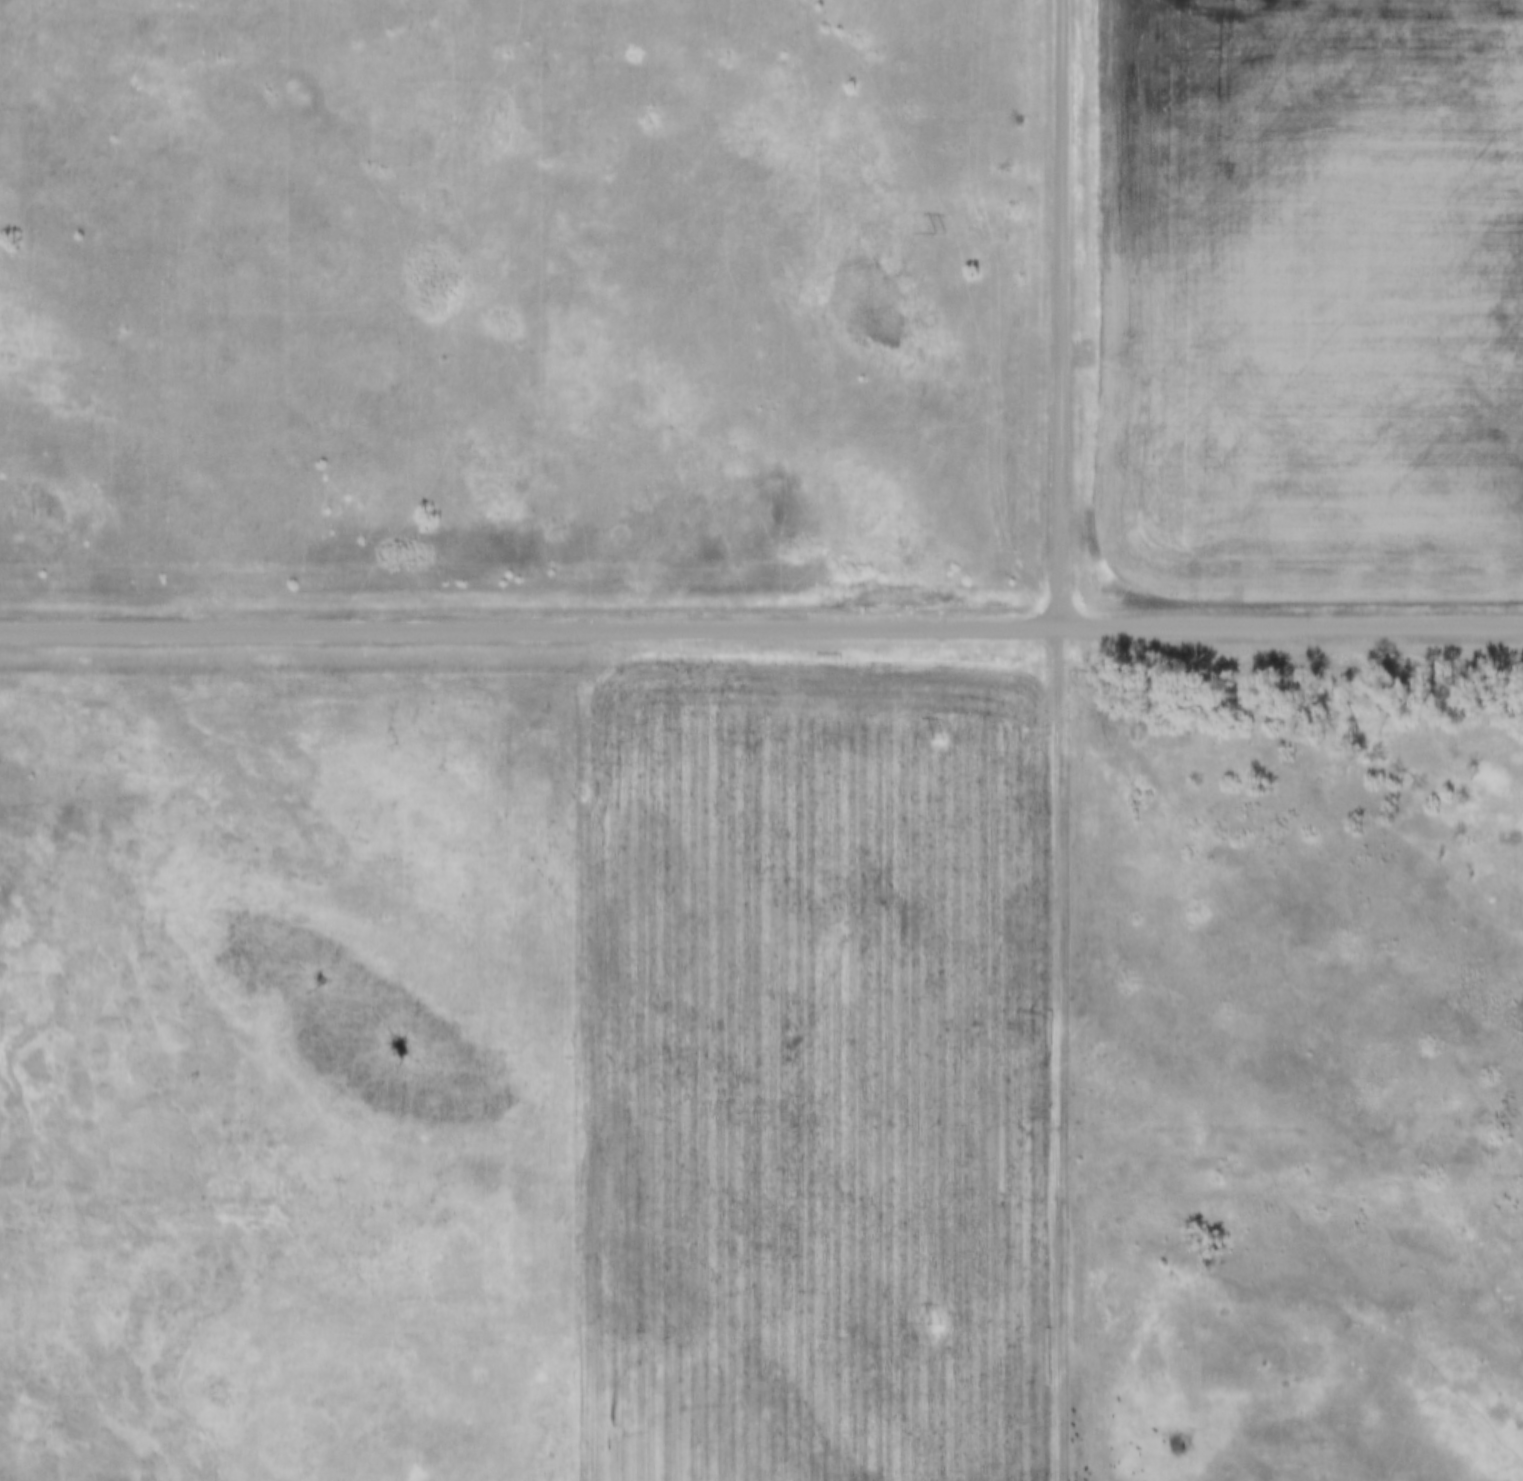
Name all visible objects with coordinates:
road: (1059, 313)
road: (761, 626)
road: (1060, 1053)

